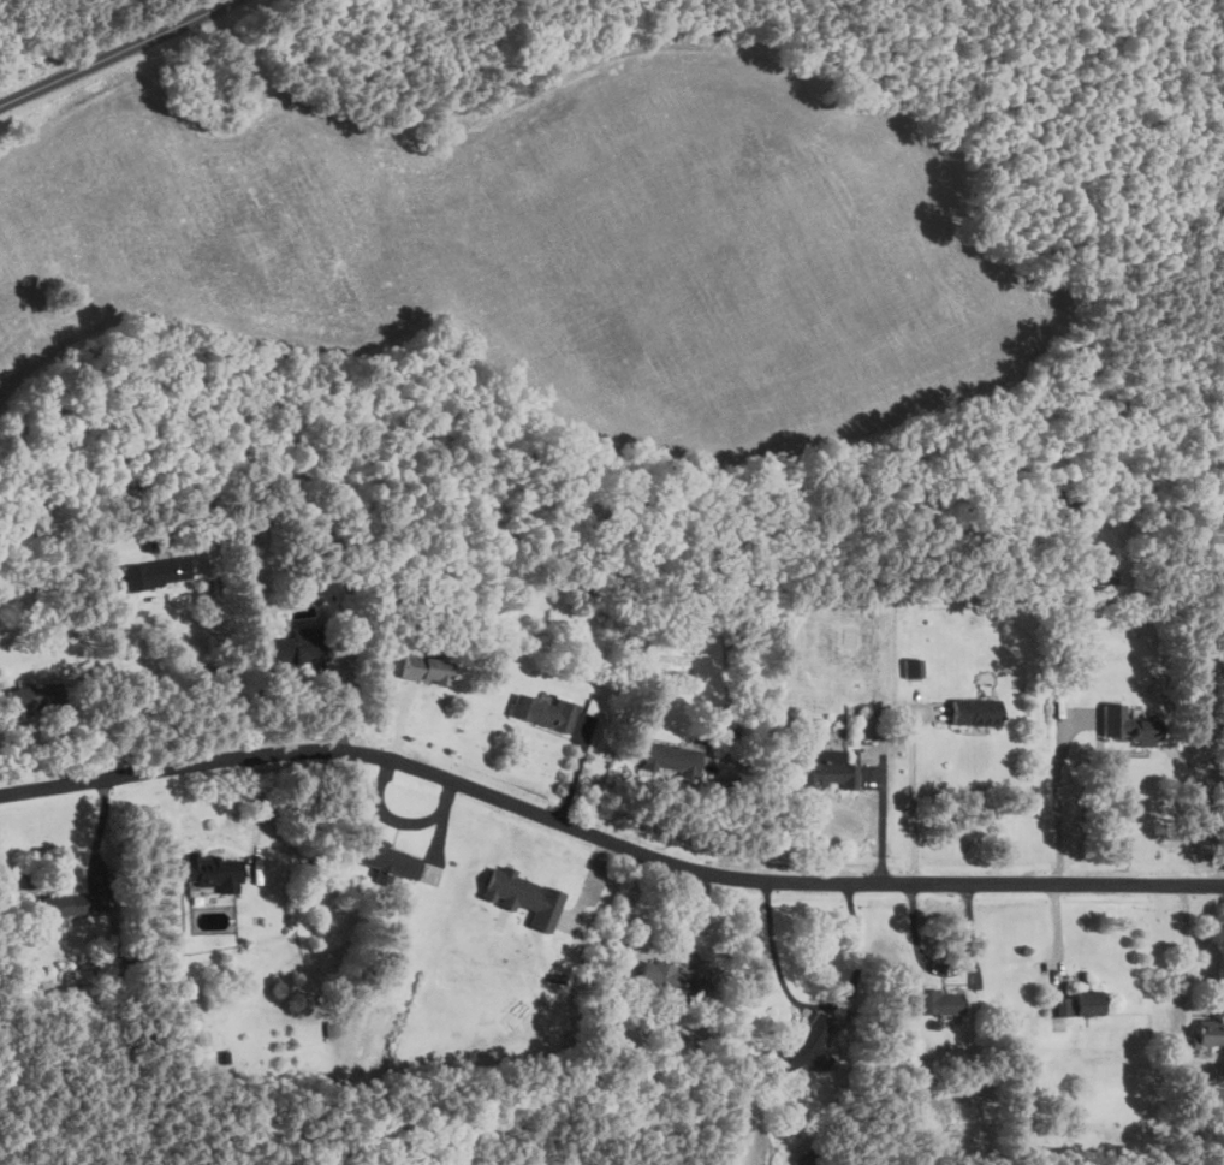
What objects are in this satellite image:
road: (123, 53)
building: (1105, 570)
building: (158, 572)
building: (296, 643)
building: (427, 670)
building: (909, 670)
road: (226, 672)
building: (37, 699)
building: (545, 711)
building: (970, 713)
building: (1124, 727)
building: (673, 757)
building: (831, 769)
road: (913, 791)
road: (1058, 804)
road: (880, 825)
road: (606, 839)
building: (403, 863)
building: (216, 870)
building: (527, 897)
building: (75, 904)
road: (1183, 953)
building: (662, 976)
building: (940, 1000)
building: (1070, 1003)
road: (812, 1005)
building: (1204, 1033)
building: (806, 1047)
building: (806, 1158)

